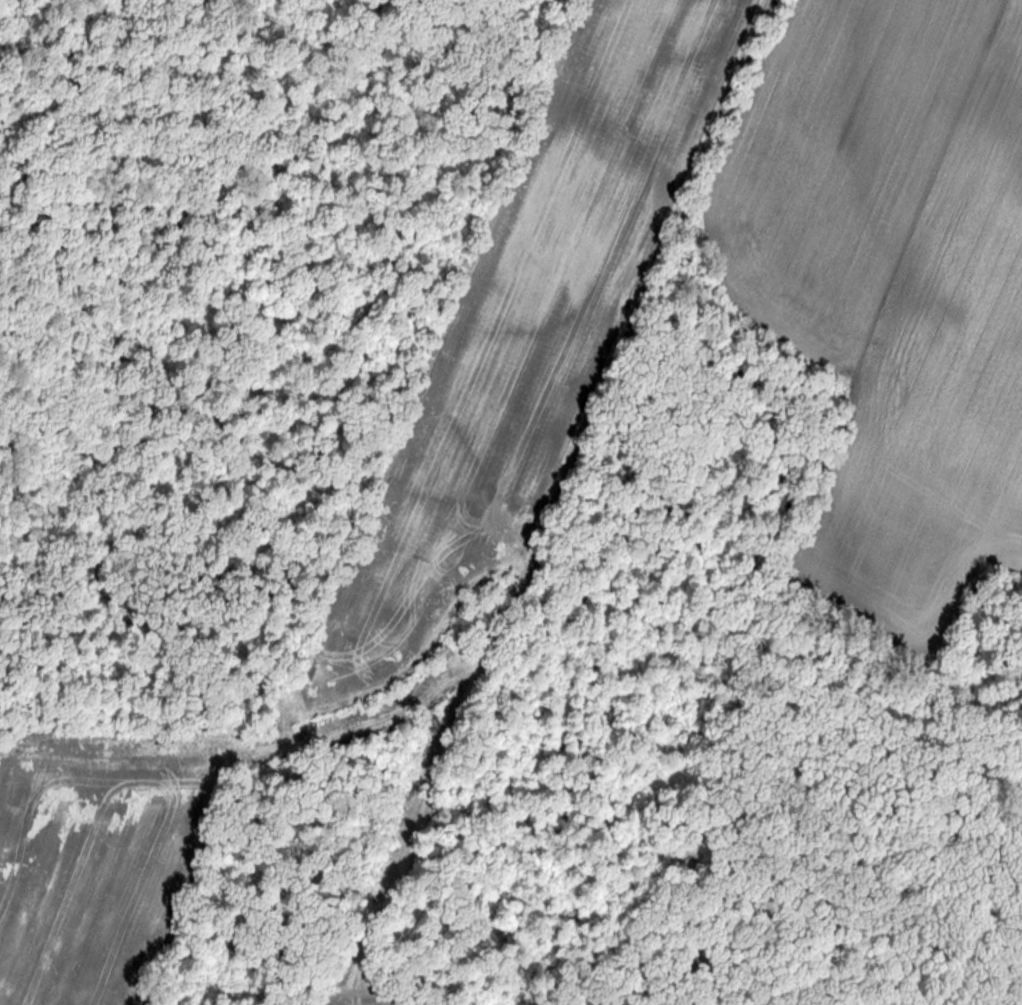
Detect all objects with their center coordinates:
crop: (888, 275)
crop: (540, 310)
crop: (80, 866)

